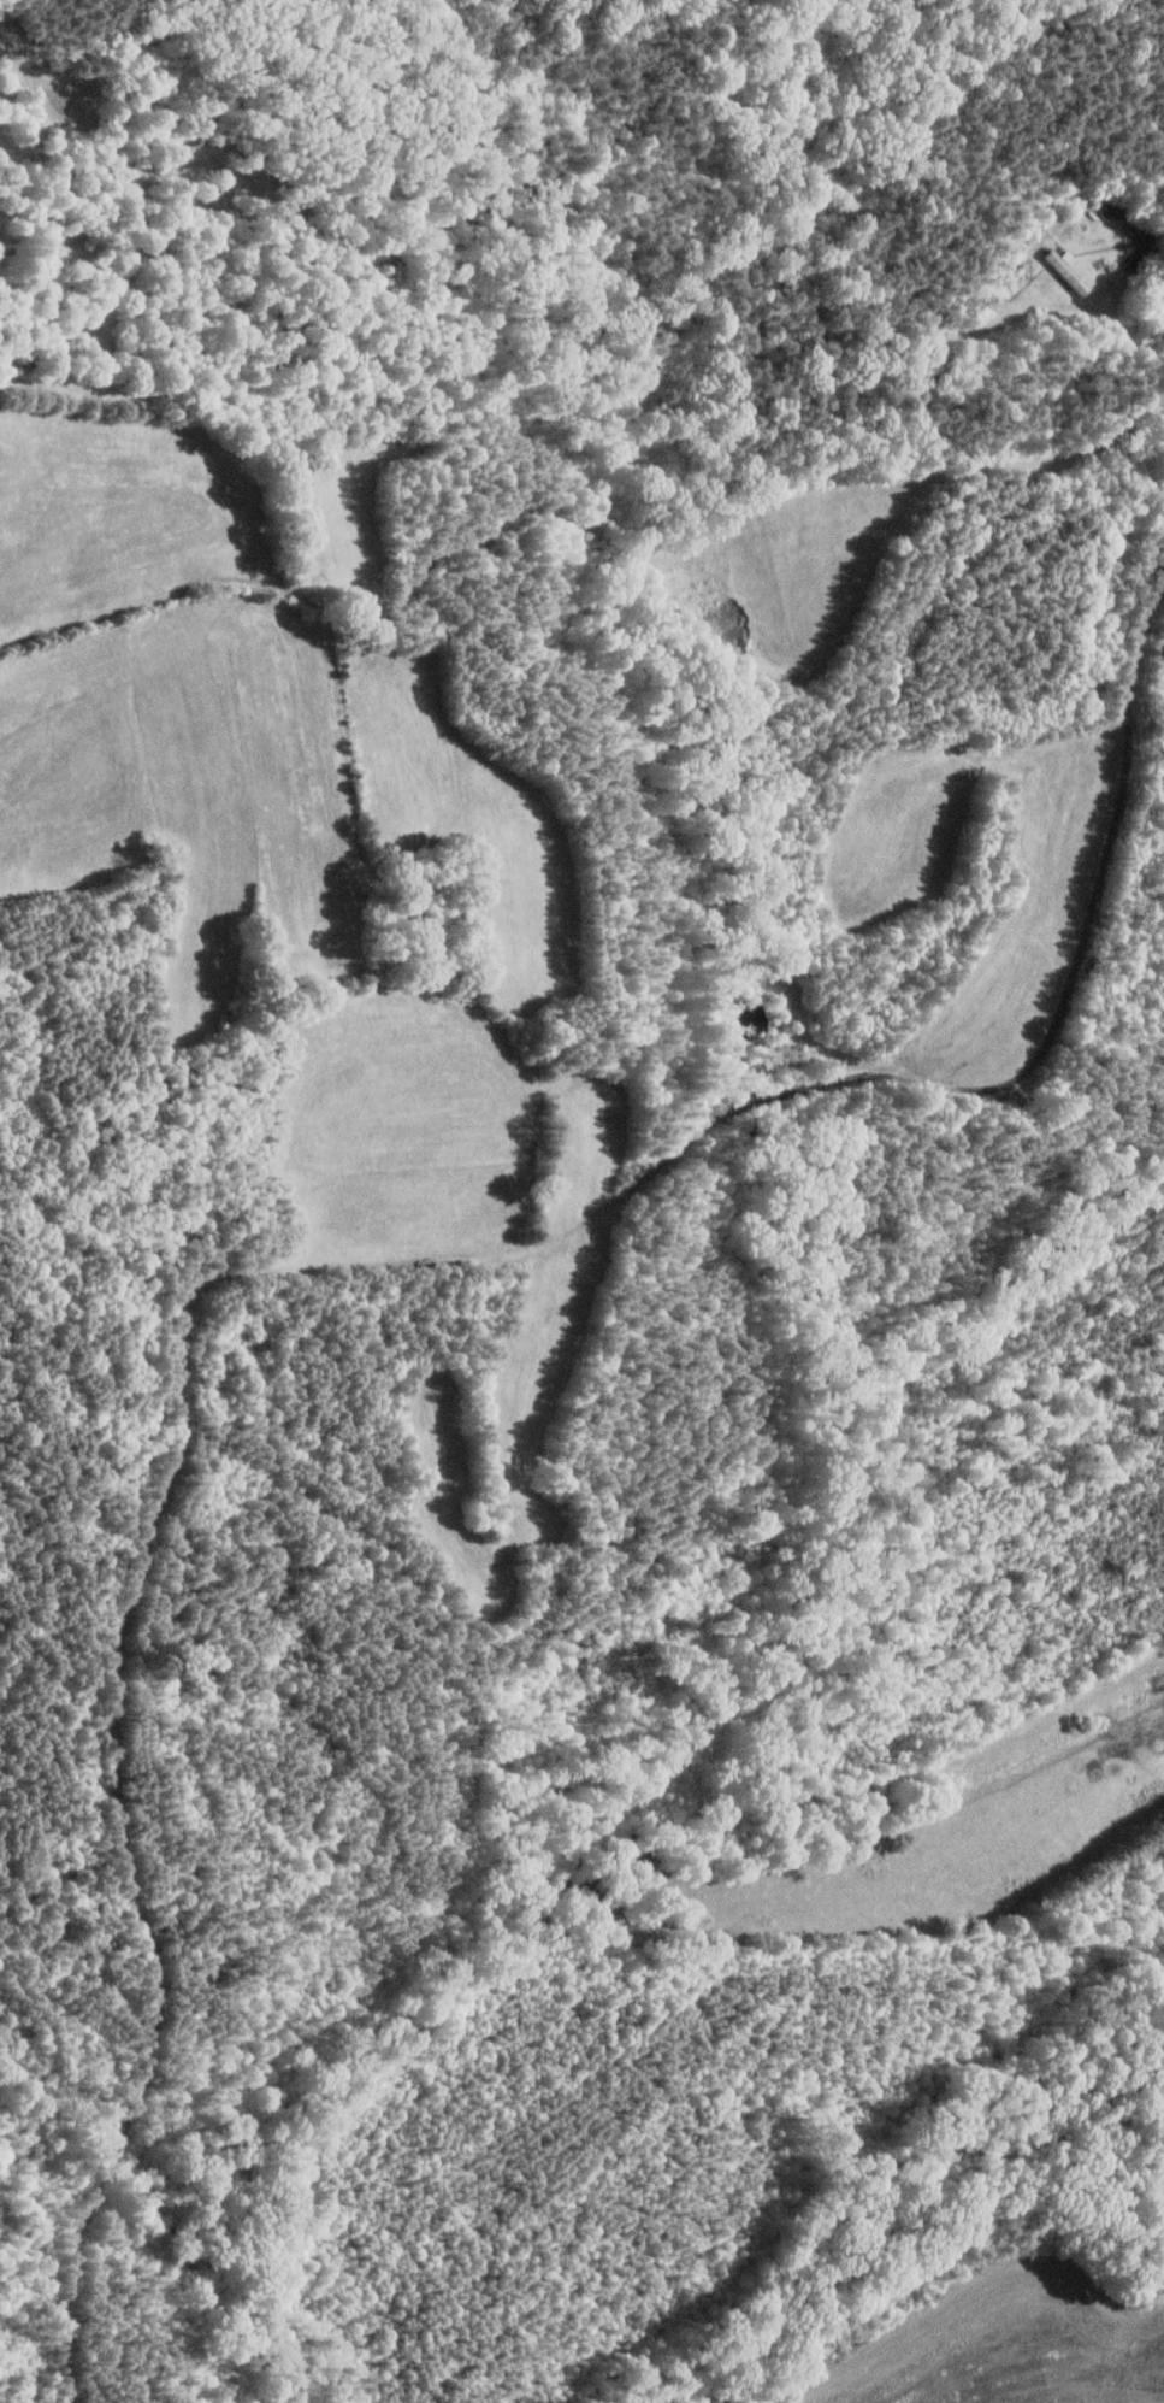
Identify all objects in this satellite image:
road: (1160, 235)
building: (1065, 267)

